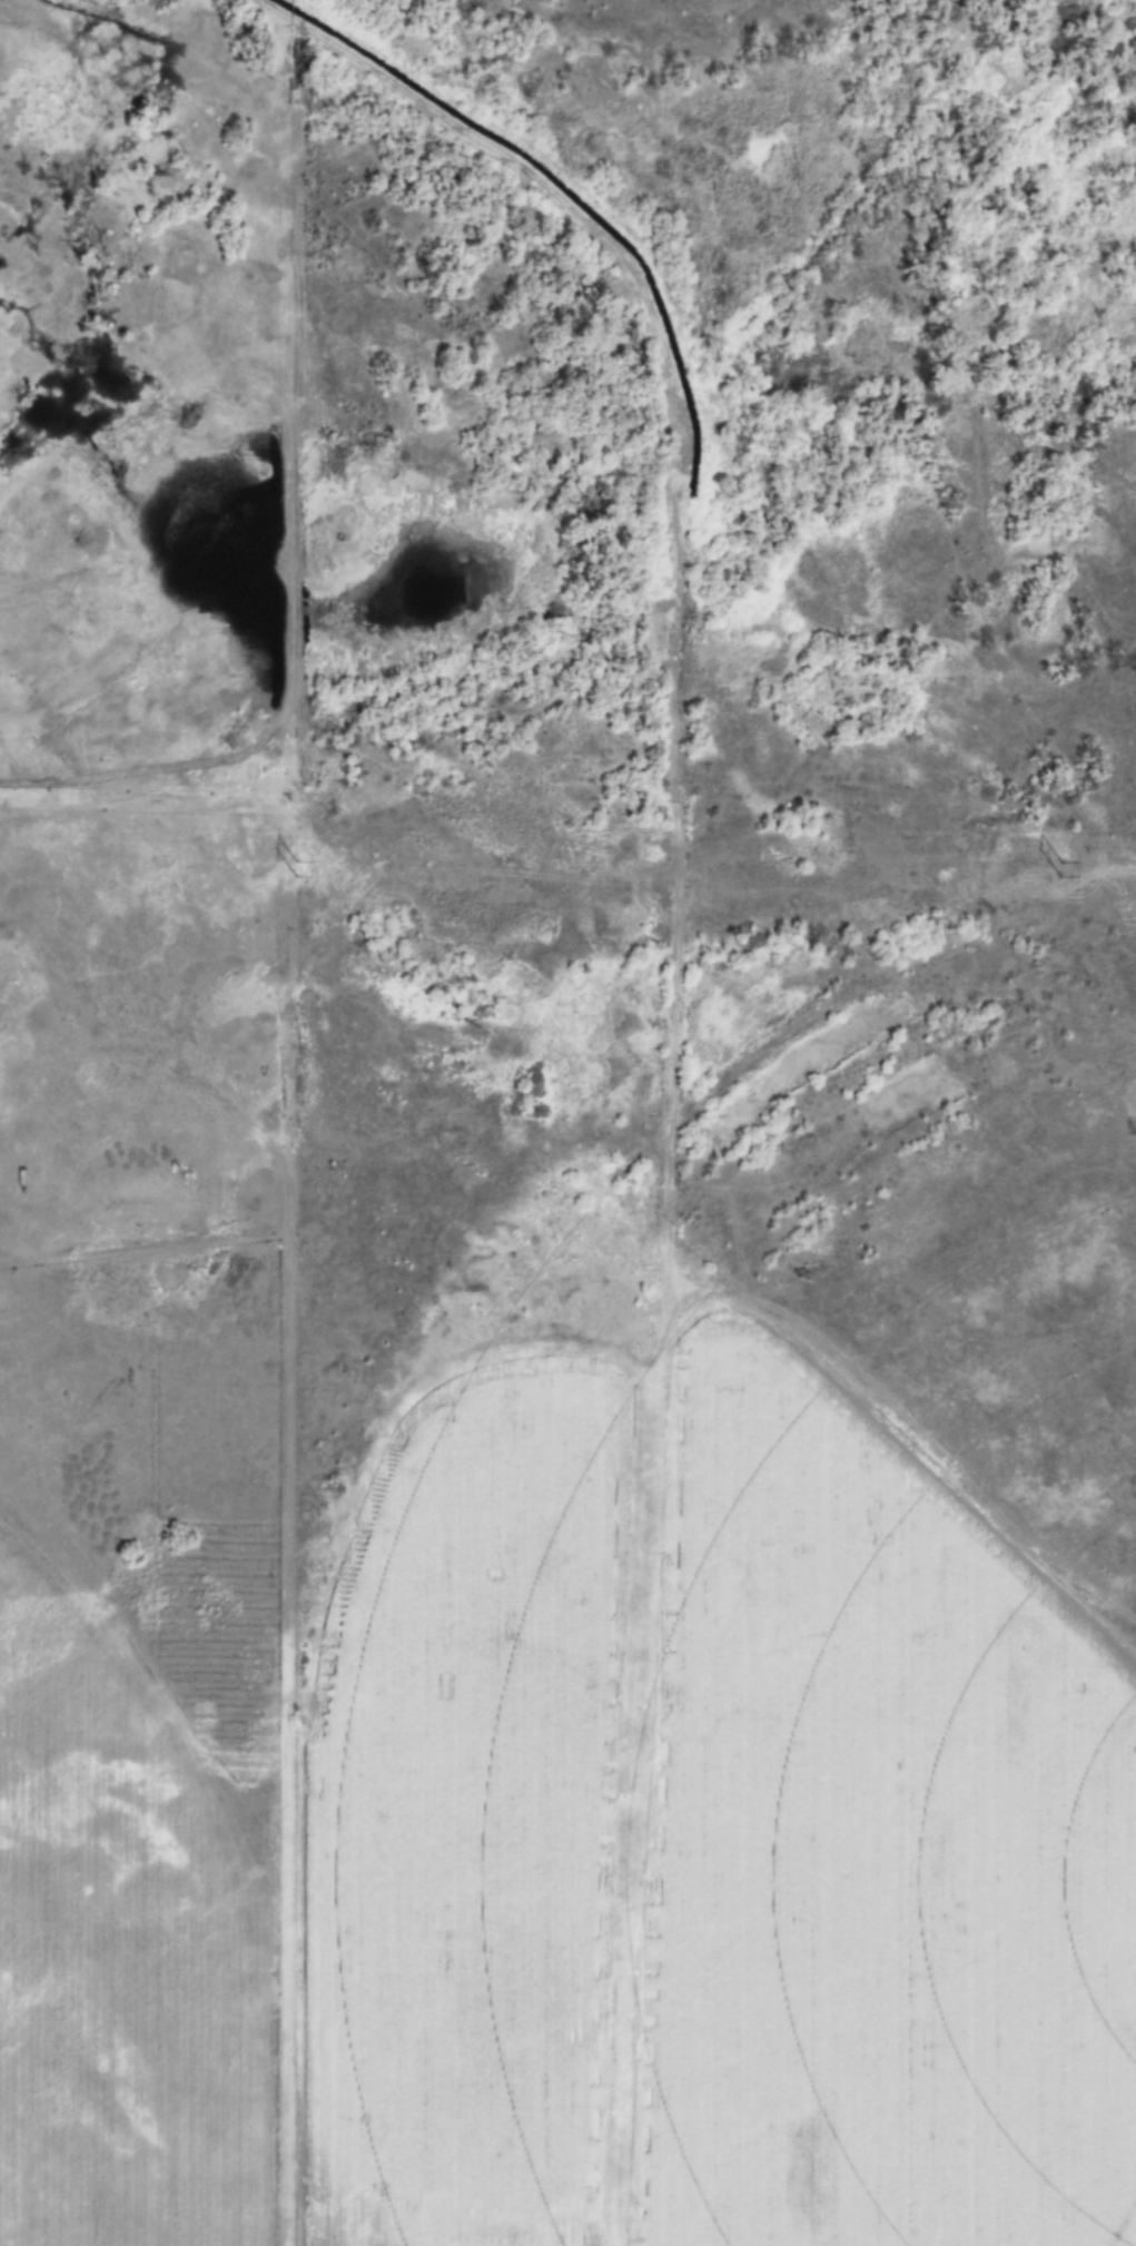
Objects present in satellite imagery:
power tower: (289, 869)
power tower: (1063, 870)
building: (1, 1357)
crop: (704, 1821)
crop: (111, 1968)

